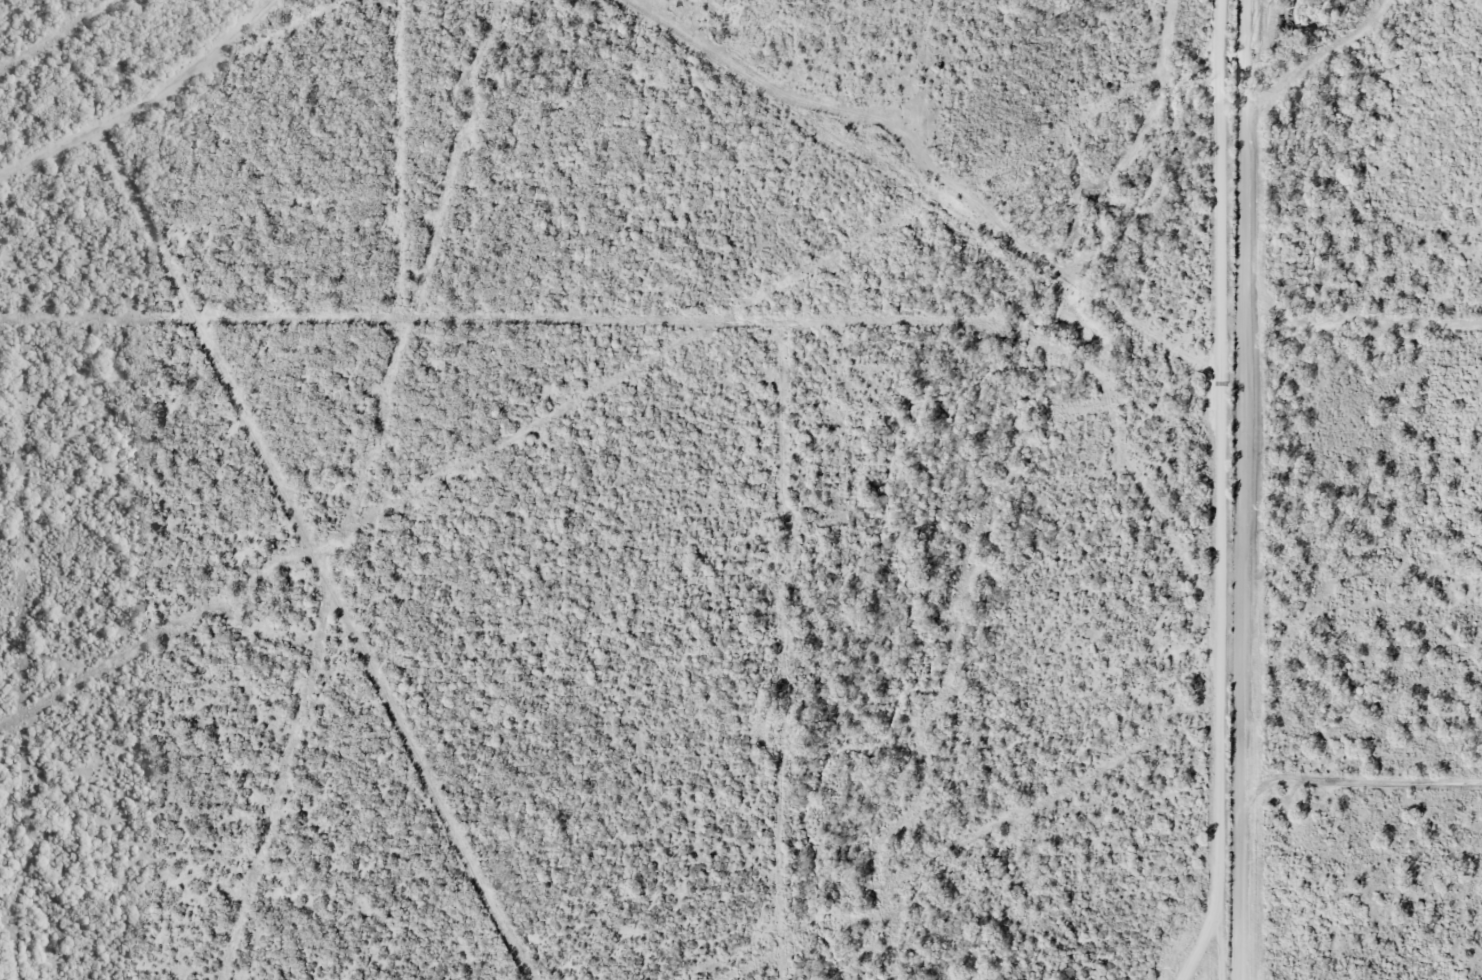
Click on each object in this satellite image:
road: (1221, 494)

